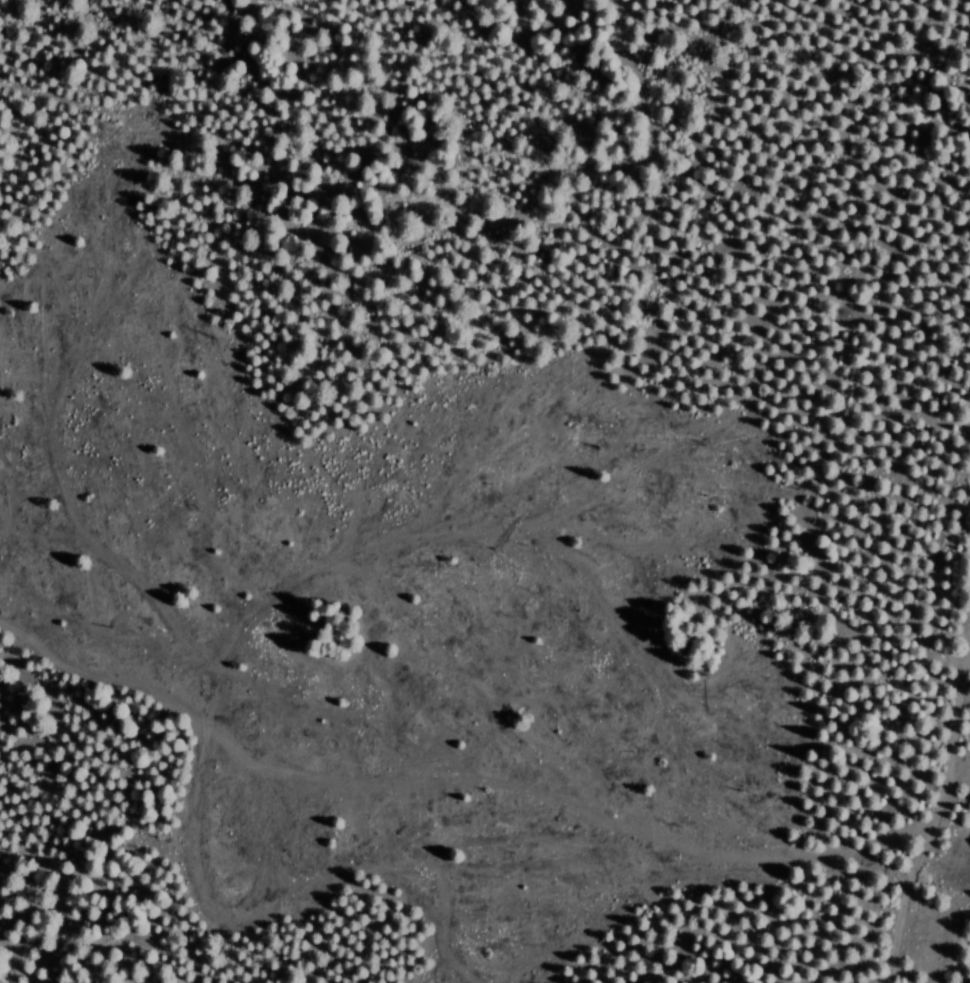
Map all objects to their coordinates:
road: (926, 837)

